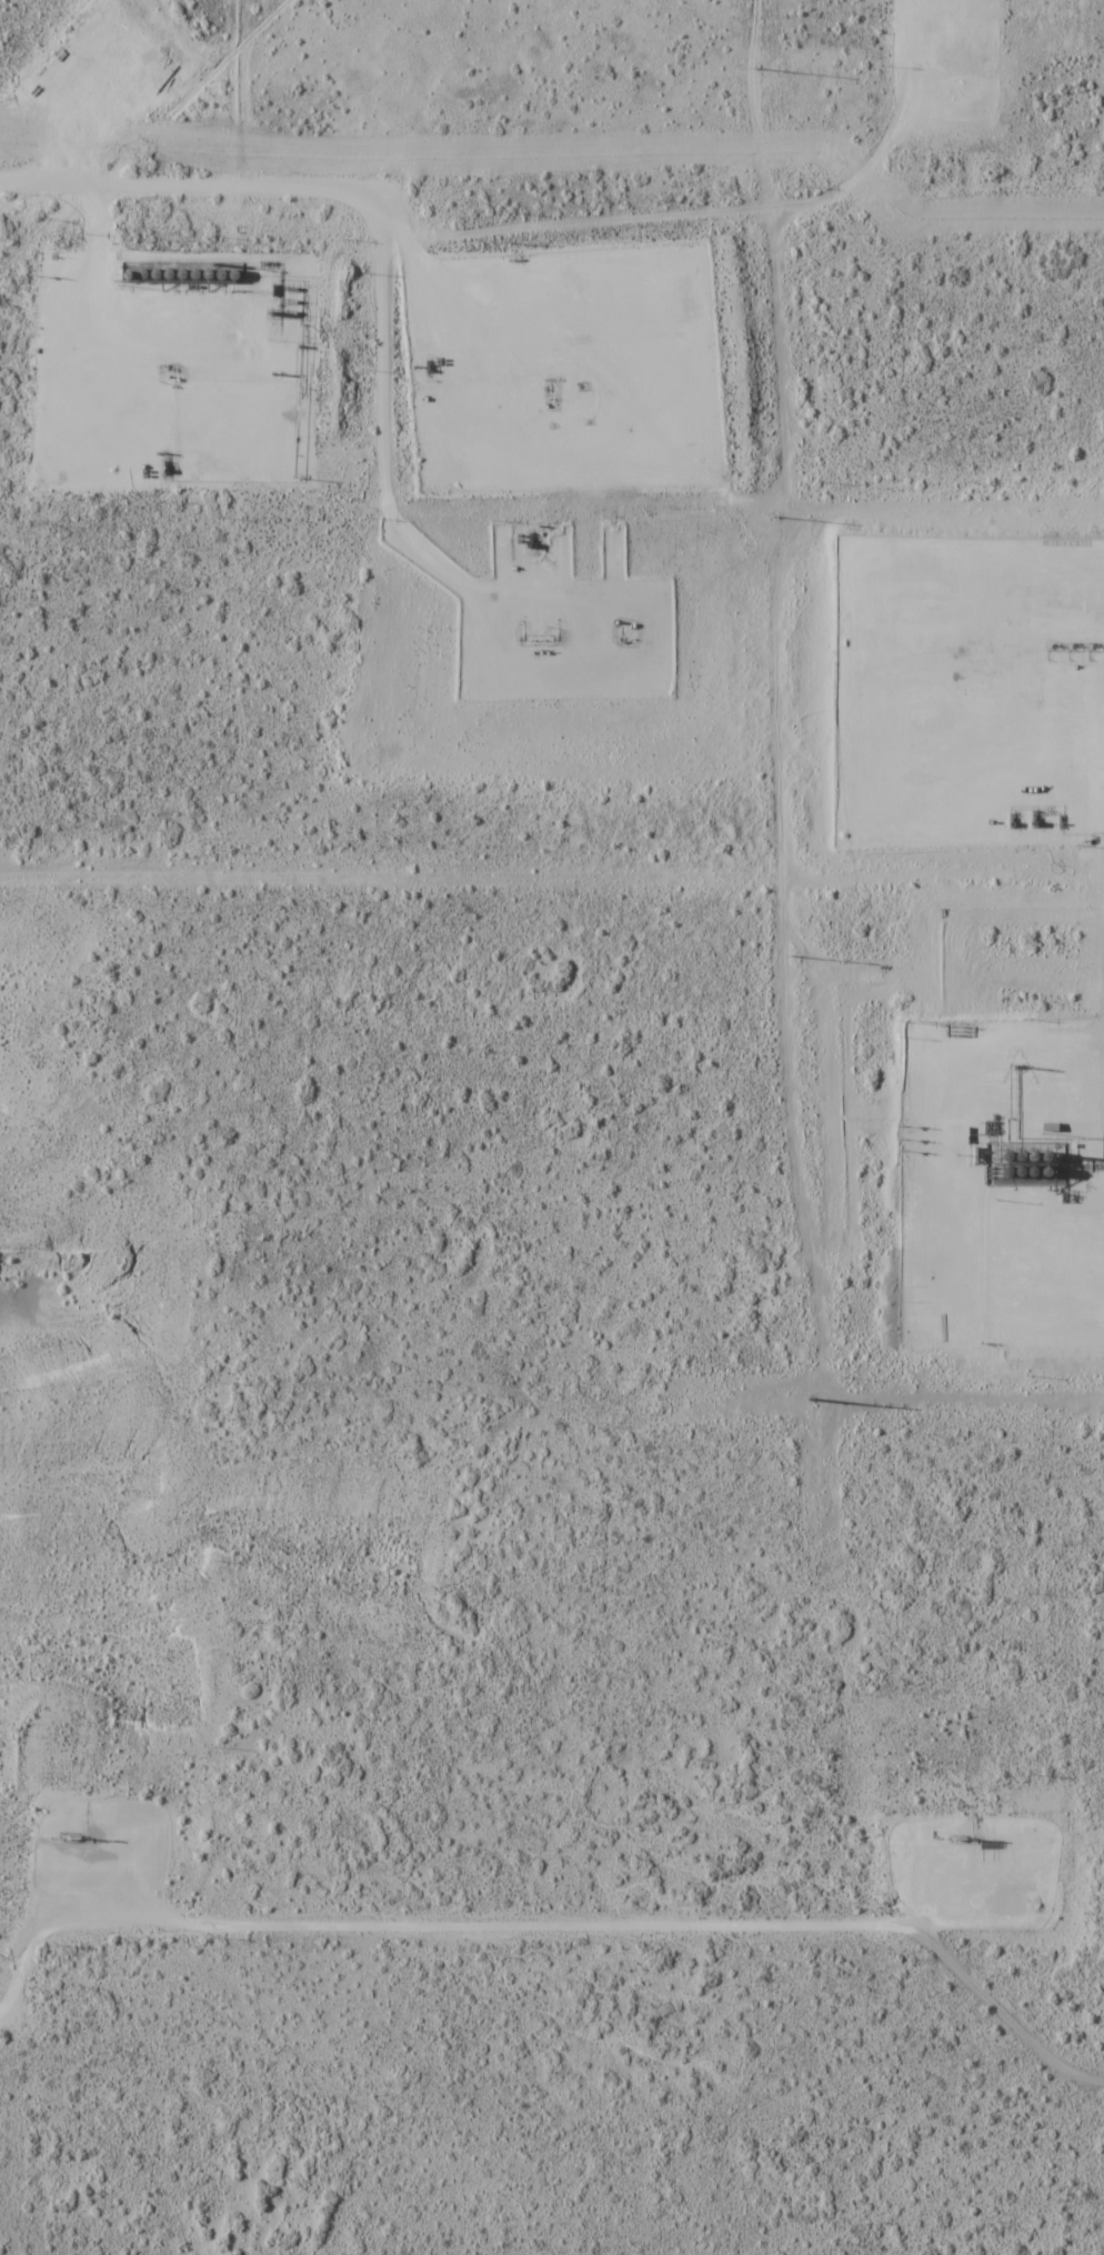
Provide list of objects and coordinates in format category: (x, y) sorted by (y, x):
road: (389, 213)
petroleum well: (172, 367)
petroleum well: (580, 387)
petroleum well: (545, 389)
petroleum well: (618, 637)
petroleum well: (630, 637)
petroleum well: (542, 638)
petroleum well: (553, 638)
petroleum well: (519, 639)
petroleum well: (530, 639)
petroleum well: (1054, 647)
petroleum well: (1074, 647)
petroleum well: (1094, 647)
road: (1014, 1322)
petroleum well: (71, 1832)
petroleum well: (956, 1833)
road: (571, 1922)
road: (19, 1942)
road: (1014, 1995)

